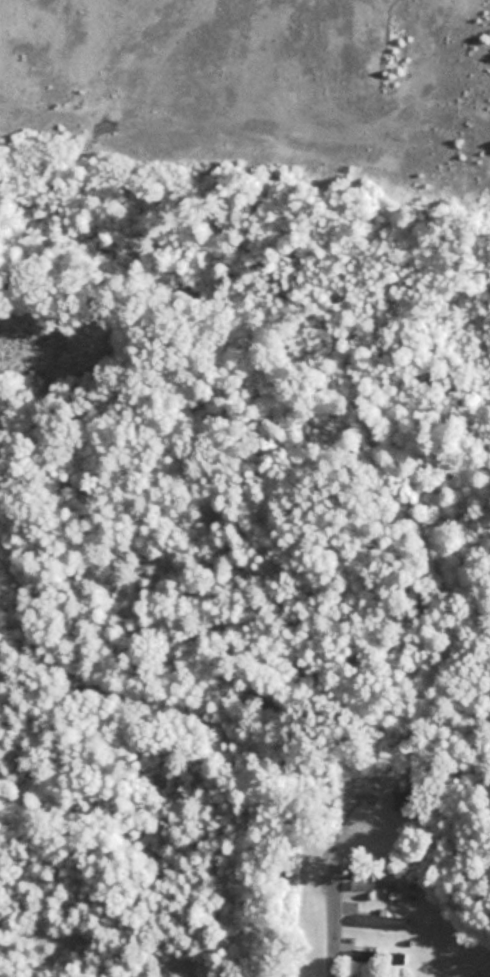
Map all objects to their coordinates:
building: (408, 798)
building: (366, 880)
road: (338, 898)
building: (382, 920)

